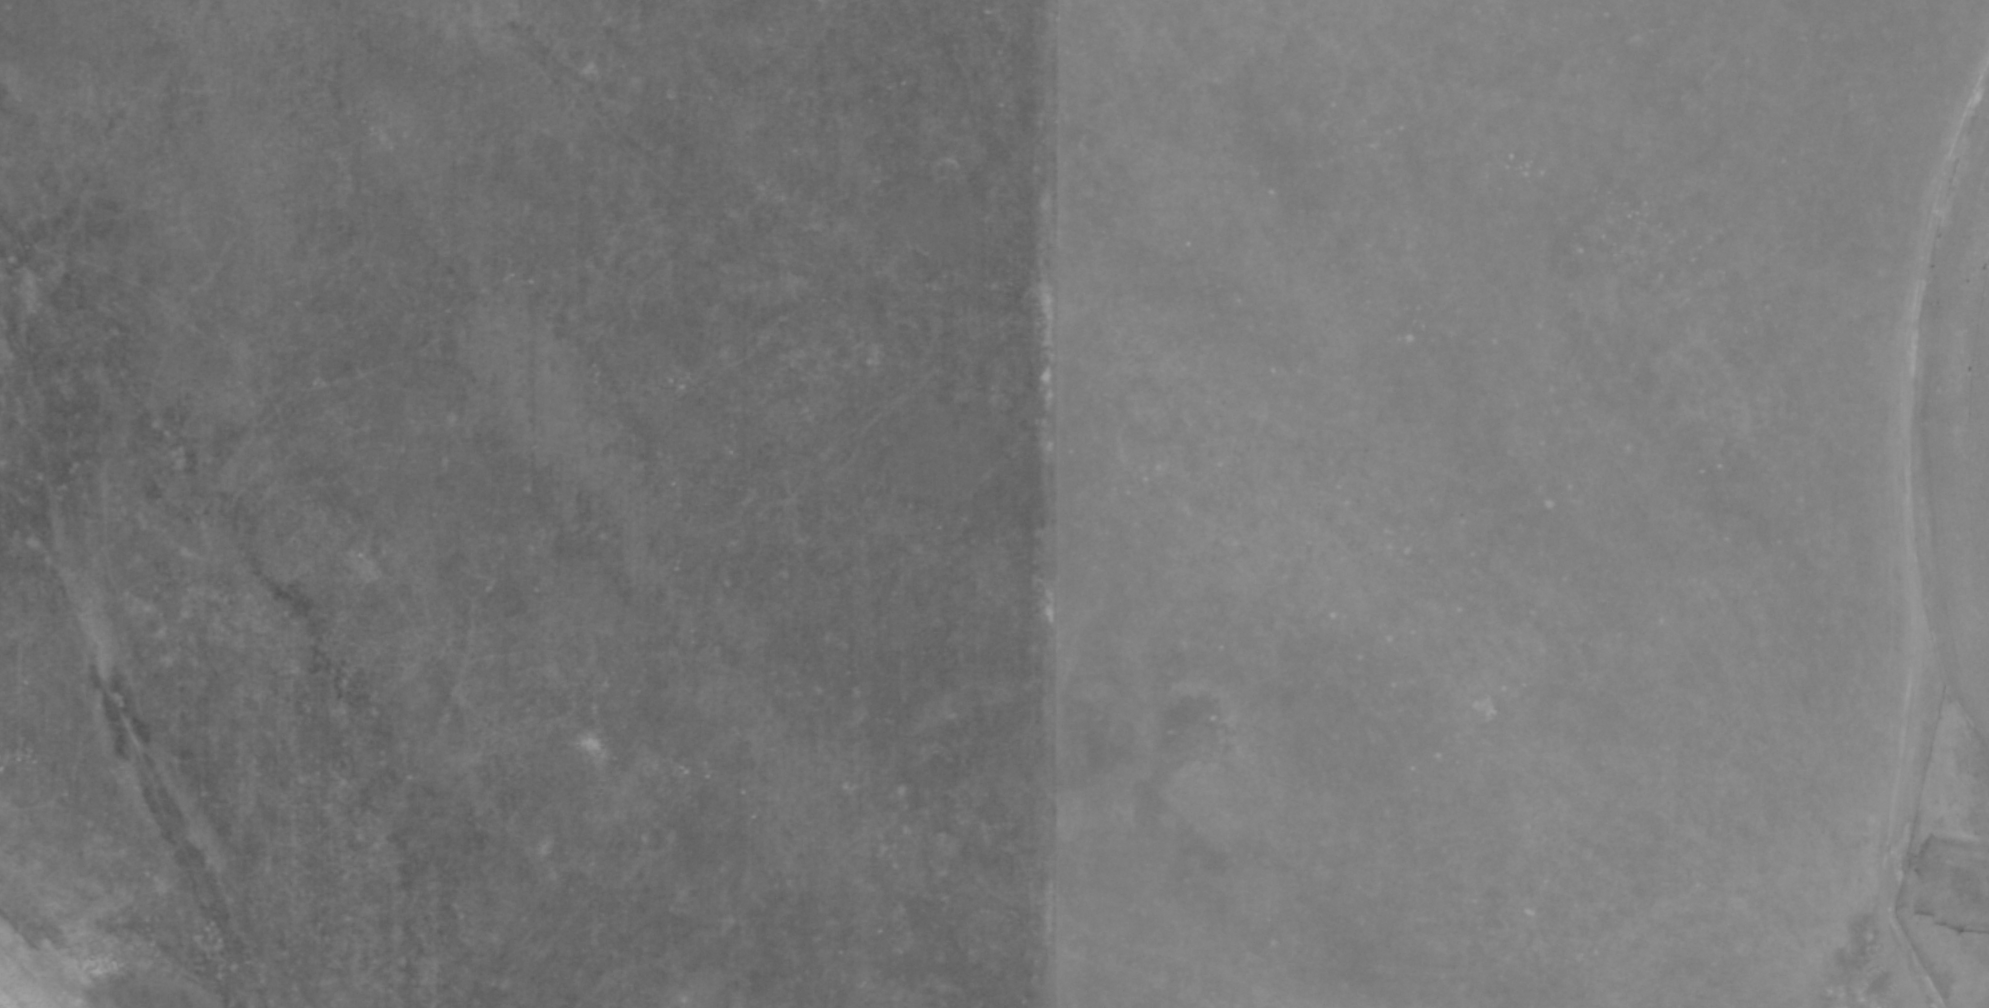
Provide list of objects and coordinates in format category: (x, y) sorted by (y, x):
crop: (1961, 433)
crop: (32, 977)

